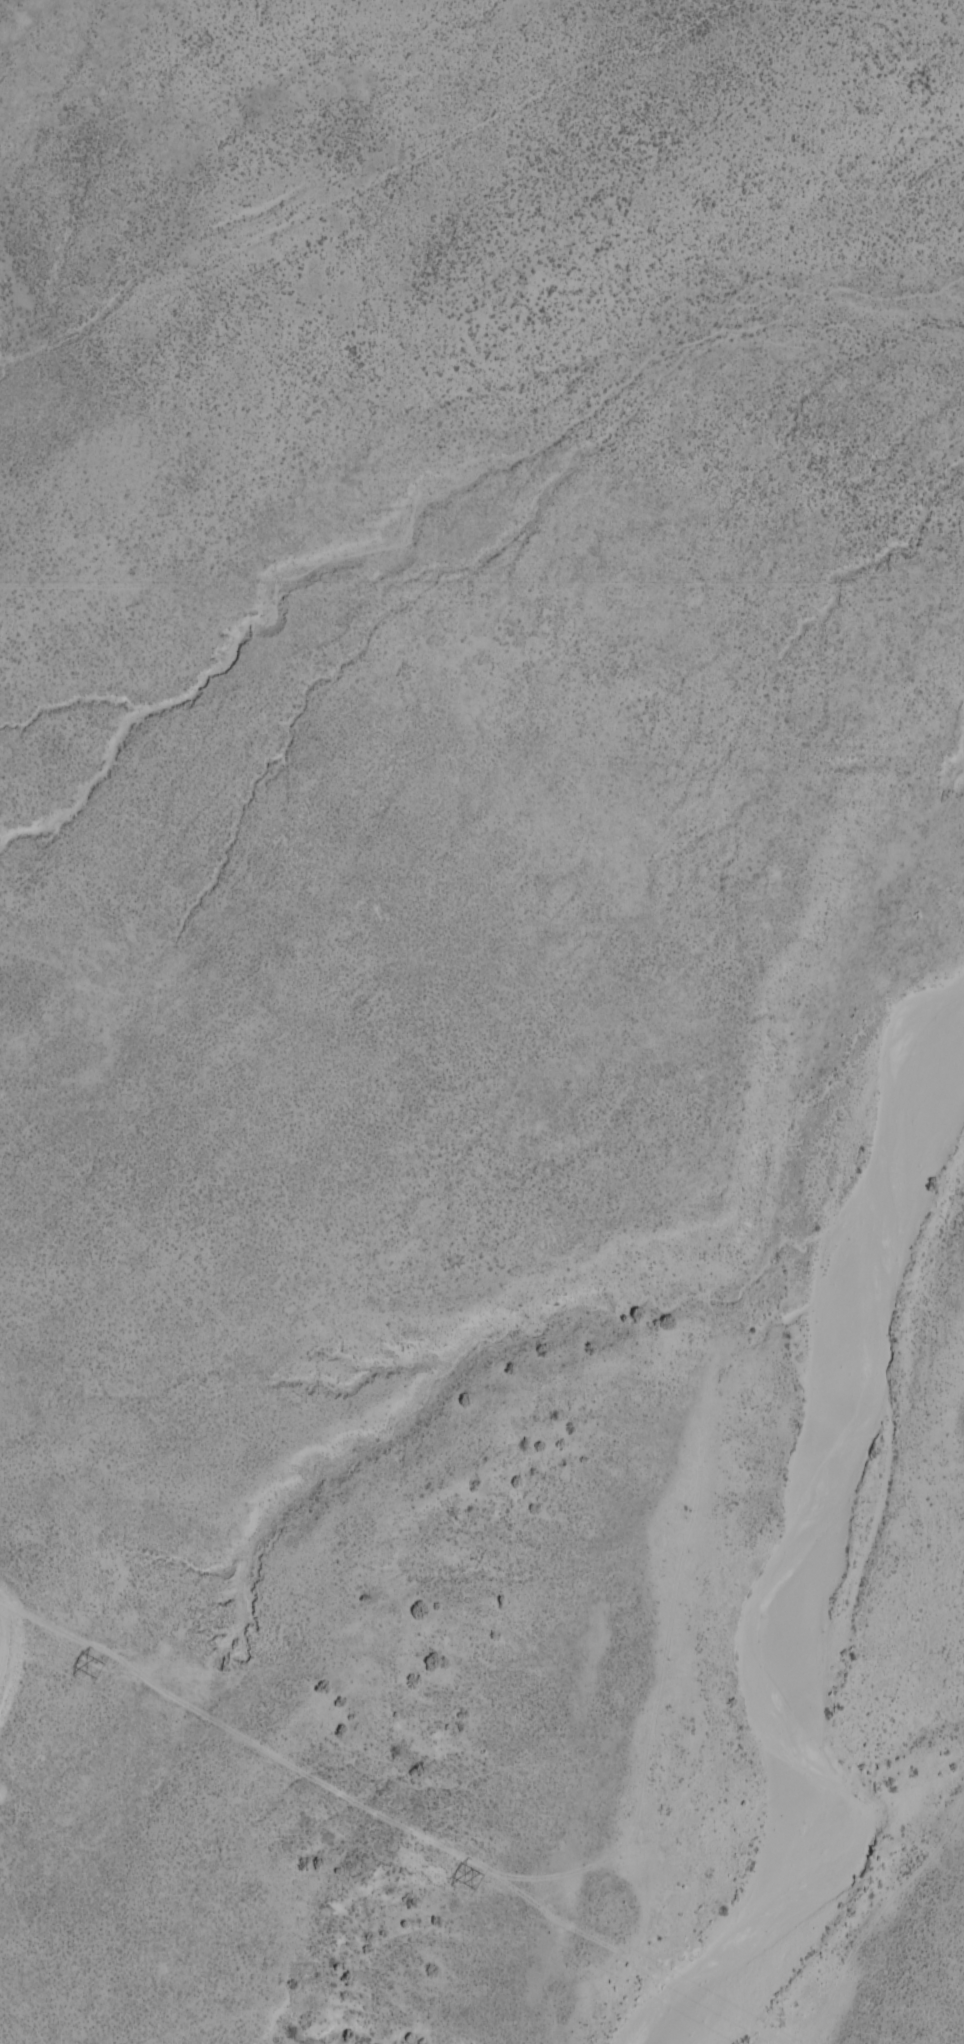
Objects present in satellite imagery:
road: (348, 177)
river: (822, 1522)
power tower: (94, 1673)
power tower: (475, 1884)

